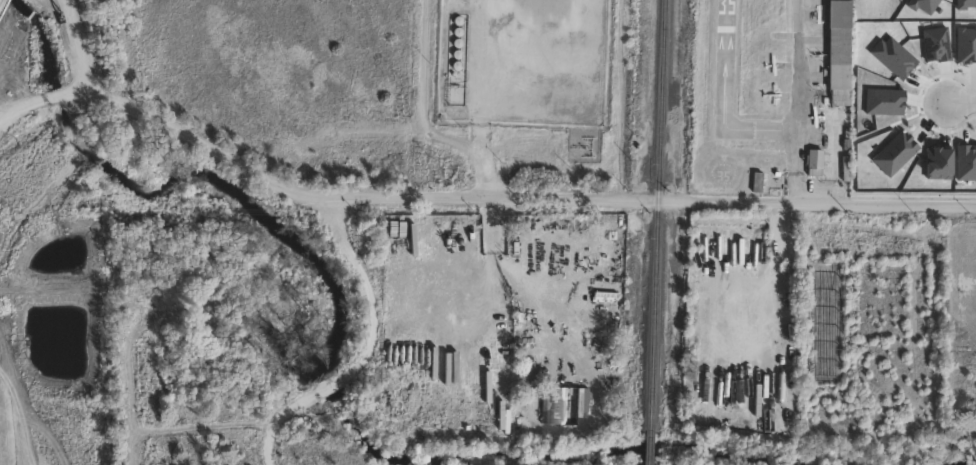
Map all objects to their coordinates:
building: (838, 51)
airport runway: (722, 65)
airport: (768, 97)
road: (480, 99)
airport taxiway: (794, 102)
road: (959, 102)
building: (814, 161)
building: (844, 168)
building: (756, 182)
road: (521, 199)
railway: (655, 215)
road: (488, 262)
road: (770, 283)
road: (367, 349)
building: (528, 378)
building: (496, 396)
building: (562, 404)
railway: (647, 447)

